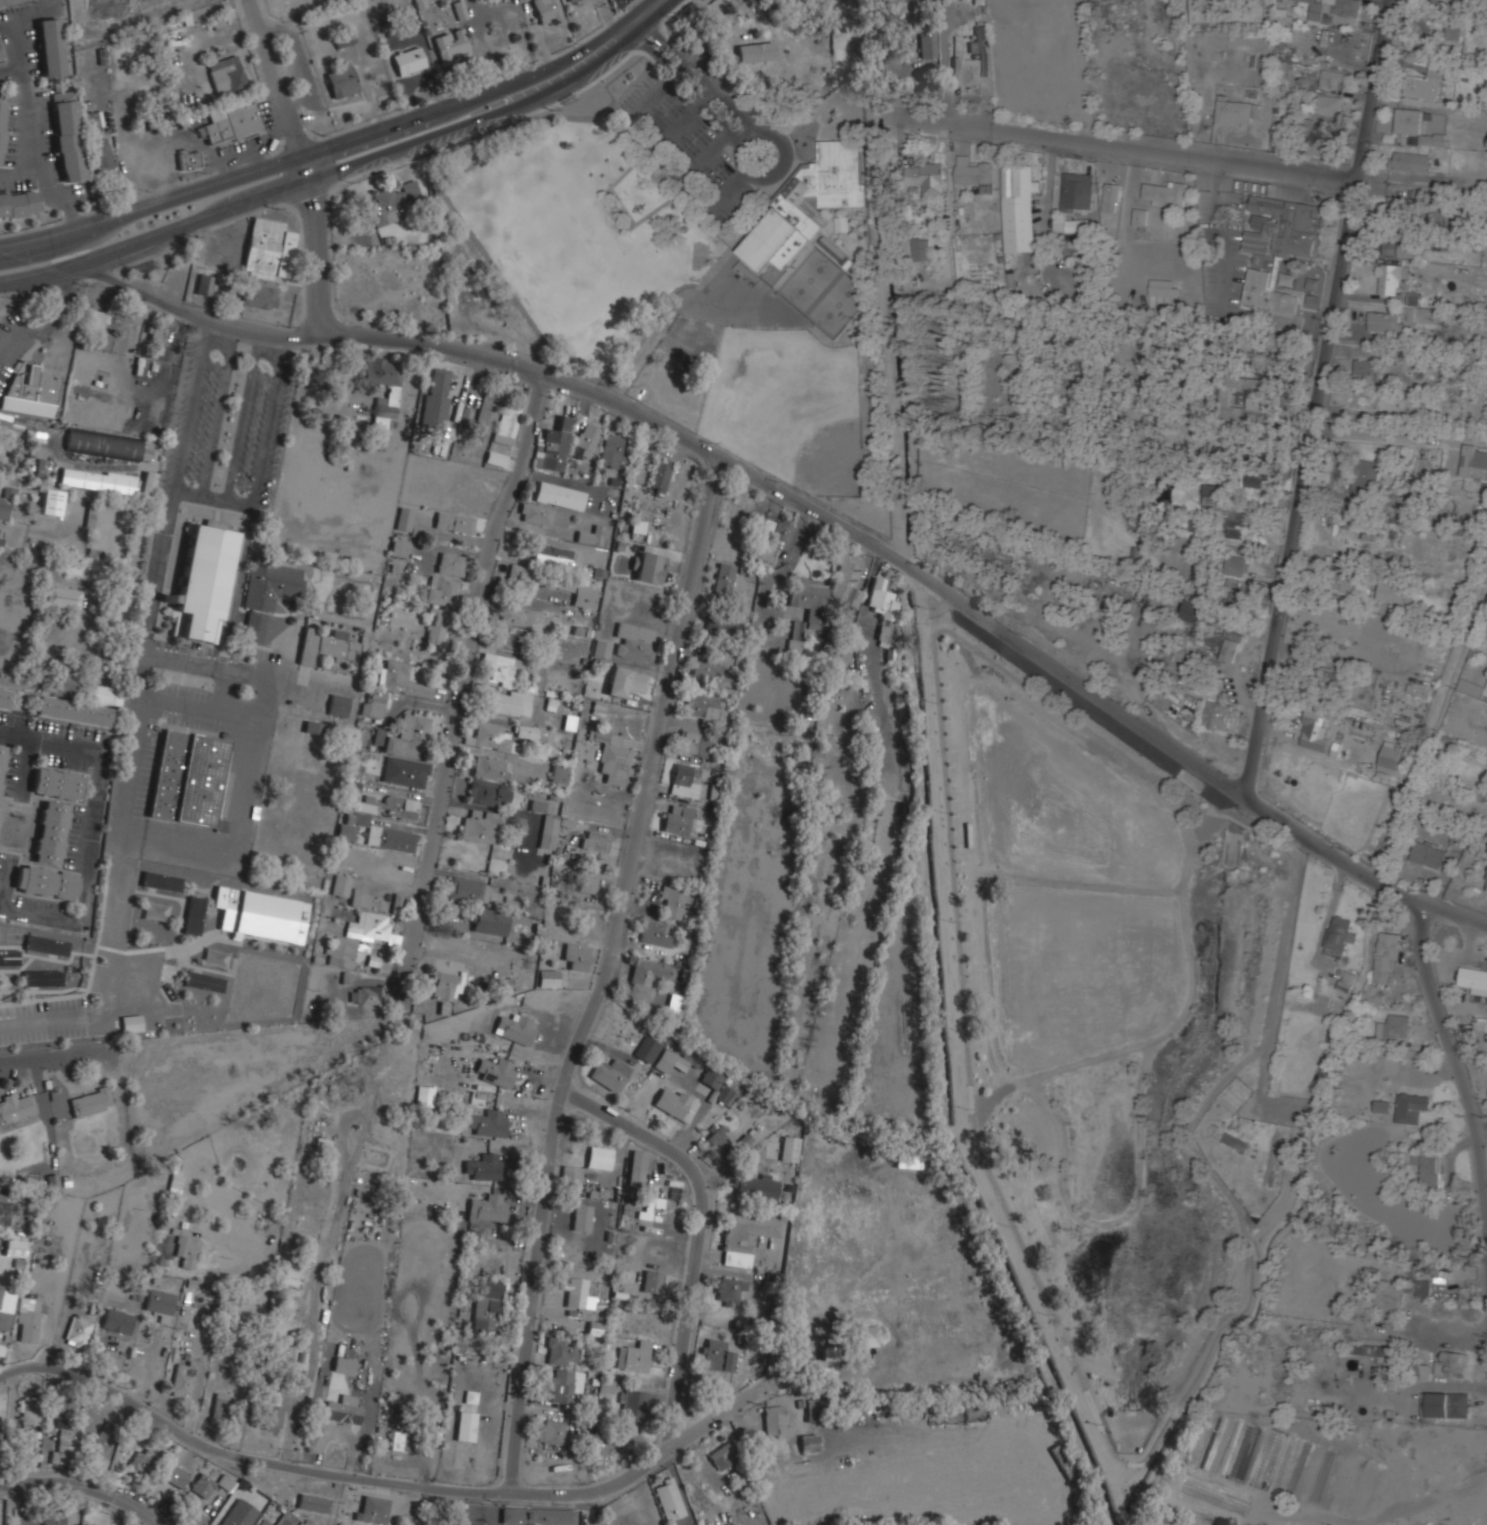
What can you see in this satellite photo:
building: (519, 0)
building: (572, 0)
building: (7, 2)
building: (742, 6)
building: (546, 10)
building: (1199, 10)
building: (1332, 10)
road: (647, 11)
building: (1456, 31)
building: (451, 44)
building: (927, 46)
building: (51, 47)
building: (981, 48)
building: (2, 49)
parking lot: (1043, 60)
building: (409, 61)
building: (1260, 62)
road: (10, 66)
building: (965, 72)
building: (227, 75)
building: (1332, 79)
building: (341, 80)
building: (1425, 80)
building: (1328, 104)
building: (1233, 112)
building: (232, 123)
building: (1416, 125)
building: (2, 127)
road: (32, 128)
road: (274, 132)
road: (186, 135)
building: (67, 136)
building: (1316, 140)
road: (322, 148)
road: (1121, 148)
road: (251, 151)
road: (372, 154)
building: (100, 155)
road: (122, 156)
building: (189, 160)
building: (1409, 160)
road: (307, 161)
building: (973, 171)
building: (926, 177)
building: (1077, 191)
building: (1165, 193)
building: (1111, 197)
park: (614, 200)
building: (391, 201)
building: (18, 204)
building: (788, 206)
building: (1397, 206)
building: (1019, 207)
building: (394, 215)
building: (1139, 218)
building: (1259, 221)
building: (1290, 224)
road: (1216, 234)
building: (1084, 237)
building: (1256, 241)
building: (1447, 241)
building: (1074, 242)
building: (268, 247)
building: (1400, 248)
building: (921, 249)
road: (45, 271)
building: (1389, 278)
building: (205, 284)
building: (1267, 294)
building: (261, 295)
building: (1414, 298)
building: (1389, 319)
building: (96, 320)
road: (209, 326)
road: (233, 334)
building: (158, 337)
road: (259, 339)
building: (104, 341)
road: (284, 341)
building: (1366, 369)
building: (382, 371)
building: (438, 392)
building: (31, 393)
road: (1315, 397)
building: (1246, 399)
building: (385, 409)
road: (193, 411)
building: (487, 413)
road: (216, 417)
building: (4, 421)
road: (241, 422)
building: (507, 422)
parking lot: (261, 423)
road: (268, 426)
road: (1385, 435)
building: (586, 441)
building: (109, 445)
building: (552, 447)
building: (612, 452)
building: (497, 459)
building: (1474, 461)
park: (833, 462)
building: (41, 468)
building: (639, 471)
building: (659, 476)
building: (1366, 477)
building: (1255, 478)
building: (97, 481)
building: (1469, 483)
building: (1213, 494)
building: (560, 496)
road: (215, 497)
building: (51, 502)
building: (6, 503)
building: (1399, 506)
road: (821, 511)
building: (544, 515)
building: (404, 519)
building: (454, 522)
building: (1235, 524)
road: (18, 527)
building: (778, 532)
building: (593, 535)
building: (1, 541)
building: (399, 548)
building: (552, 555)
building: (1236, 561)
building: (451, 564)
building: (650, 568)
building: (520, 575)
building: (724, 577)
building: (846, 580)
building: (204, 581)
building: (1347, 581)
building: (270, 582)
building: (443, 591)
building: (1392, 591)
building: (63, 597)
building: (584, 597)
building: (809, 597)
building: (882, 598)
building: (520, 616)
building: (440, 623)
building: (720, 624)
building: (253, 627)
building: (1201, 631)
building: (797, 634)
building: (511, 637)
building: (635, 642)
building: (325, 645)
building: (602, 649)
building: (844, 653)
building: (711, 665)
building: (500, 669)
building: (63, 676)
building: (400, 680)
building: (626, 681)
road: (460, 686)
building: (1471, 686)
building: (1418, 690)
building: (106, 695)
building: (4, 697)
parking lot: (191, 701)
building: (373, 703)
building: (511, 703)
building: (338, 705)
building: (702, 705)
building: (73, 711)
building: (1217, 715)
building: (1314, 720)
building: (314, 727)
building: (525, 732)
building: (378, 737)
building: (408, 737)
building: (491, 738)
road: (46, 739)
building: (695, 742)
building: (612, 756)
building: (2, 760)
building: (488, 768)
building: (405, 772)
building: (558, 773)
building: (188, 778)
building: (683, 780)
building: (57, 783)
building: (487, 792)
building: (224, 793)
building: (366, 804)
building: (537, 805)
building: (401, 806)
building: (357, 819)
building: (678, 819)
building: (481, 826)
building: (552, 829)
building: (346, 832)
building: (52, 833)
building: (390, 839)
building: (596, 841)
building: (1428, 853)
road: (85, 874)
building: (161, 881)
building: (47, 882)
building: (1486, 882)
building: (341, 885)
building: (587, 885)
building: (468, 890)
building: (360, 899)
building: (397, 903)
building: (672, 903)
building: (194, 915)
building: (261, 915)
building: (490, 921)
building: (369, 926)
building: (656, 934)
building: (1338, 936)
building: (46, 945)
building: (341, 952)
building: (9, 957)
building: (577, 957)
building: (1383, 963)
road: (605, 973)
building: (1473, 977)
building: (42, 978)
building: (645, 978)
building: (203, 981)
building: (1347, 981)
building: (446, 985)
road: (1157, 986)
road: (114, 994)
building: (673, 1004)
building: (131, 1023)
building: (1394, 1027)
building: (516, 1029)
building: (648, 1049)
building: (676, 1061)
road: (1455, 1062)
building: (495, 1071)
building: (611, 1074)
road: (1227, 1075)
building: (717, 1084)
building: (424, 1096)
building: (91, 1102)
building: (675, 1103)
building: (1382, 1106)
building: (1412, 1107)
building: (17, 1108)
road: (1481, 1123)
building: (488, 1124)
building: (718, 1137)
building: (790, 1148)
building: (599, 1157)
building: (908, 1161)
building: (1429, 1165)
building: (485, 1167)
building: (636, 1176)
building: (571, 1178)
building: (754, 1186)
road: (1486, 1201)
building: (488, 1208)
building: (657, 1209)
building: (7, 1210)
building: (582, 1217)
road: (1111, 1219)
road: (700, 1228)
building: (745, 1236)
building: (15, 1248)
building: (186, 1248)
building: (1430, 1272)
building: (1443, 1275)
building: (652, 1281)
building: (729, 1288)
building: (1422, 1288)
building: (575, 1290)
building: (1390, 1293)
building: (160, 1304)
building: (487, 1305)
building: (1364, 1305)
building: (6, 1306)
building: (27, 1320)
building: (118, 1321)
building: (77, 1332)
building: (869, 1335)
building: (1374, 1350)
building: (563, 1351)
building: (635, 1357)
building: (716, 1360)
building: (111, 1361)
building: (1452, 1363)
building: (344, 1365)
building: (824, 1366)
building: (1421, 1371)
building: (182, 1379)
building: (607, 1385)
building: (566, 1386)
building: (633, 1404)
building: (1449, 1404)
building: (221, 1406)
building: (31, 1410)
building: (343, 1410)
building: (812, 1410)
building: (65, 1415)
building: (272, 1417)
building: (776, 1421)
building: (465, 1426)
building: (551, 1431)
building: (105, 1435)
building: (400, 1441)
road: (198, 1442)
building: (809, 1442)
building: (64, 1451)
building: (1244, 1452)
building: (724, 1455)
building: (143, 1459)
building: (176, 1475)
building: (225, 1482)
road: (86, 1485)
building: (202, 1485)
road: (603, 1489)
building: (669, 1499)
building: (314, 1502)
road: (411, 1505)
building: (373, 1509)
building: (240, 1514)
building: (538, 1516)
building: (54, 1517)
building: (102, 1519)
building: (288, 1519)
building: (263, 1522)

